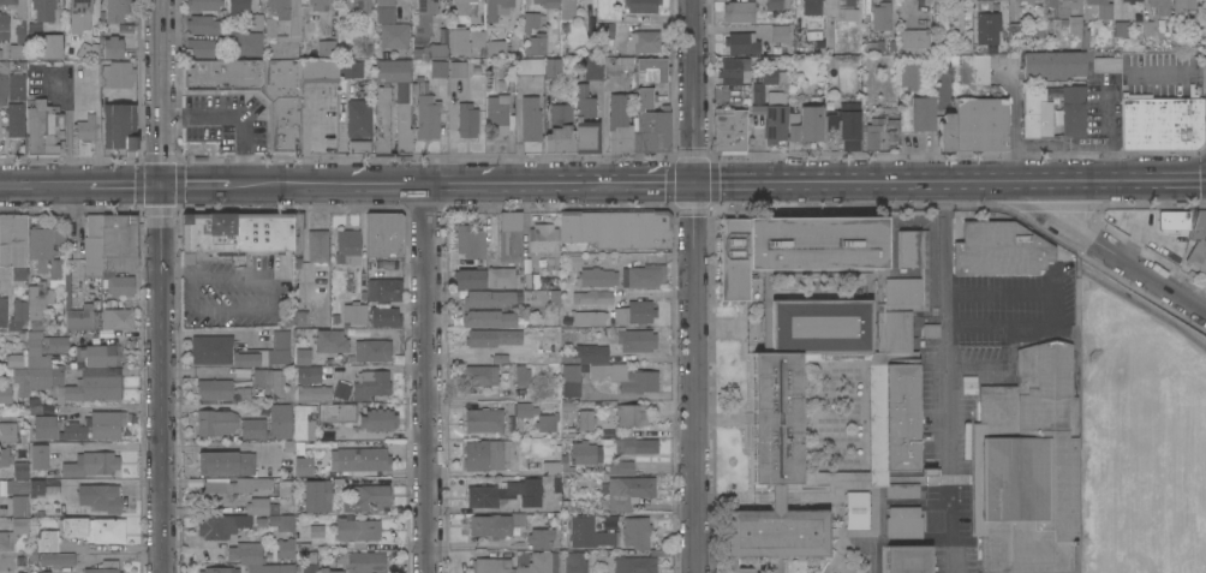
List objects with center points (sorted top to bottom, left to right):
building: (921, 0)
building: (1128, 0)
building: (927, 1)
building: (1026, 1)
building: (547, 2)
building: (849, 2)
building: (1051, 2)
building: (203, 4)
building: (776, 4)
building: (318, 5)
building: (364, 5)
building: (641, 5)
building: (239, 6)
building: (461, 6)
building: (811, 6)
building: (1159, 6)
building: (16, 7)
building: (80, 8)
building: (497, 8)
building: (568, 8)
building: (1101, 8)
building: (43, 10)
building: (115, 10)
building: (386, 11)
building: (739, 11)
building: (425, 17)
building: (882, 17)
building: (1180, 18)
building: (531, 20)
building: (256, 22)
building: (985, 23)
building: (1075, 24)
building: (4, 25)
building: (204, 25)
building: (269, 28)
building: (293, 28)
building: (1121, 28)
building: (1015, 29)
building: (605, 30)
building: (1147, 31)
building: (780, 32)
building: (394, 35)
building: (914, 37)
building: (464, 40)
building: (643, 41)
building: (742, 42)
building: (245, 43)
building: (536, 44)
building: (52, 46)
building: (112, 47)
building: (201, 47)
building: (86, 48)
building: (326, 48)
building: (17, 49)
building: (495, 49)
building: (437, 50)
building: (617, 62)
building: (1056, 62)
building: (1108, 64)
building: (530, 66)
building: (553, 67)
building: (591, 67)
building: (351, 68)
building: (438, 68)
building: (458, 68)
building: (974, 68)
building: (318, 70)
building: (393, 70)
building: (651, 70)
road: (1166, 70)
building: (734, 71)
building: (117, 73)
building: (911, 76)
building: (507, 80)
building: (2, 82)
building: (17, 86)
building: (255, 90)
building: (769, 108)
building: (1071, 108)
building: (425, 109)
building: (923, 113)
building: (1035, 113)
road: (234, 115)
building: (401, 115)
building: (497, 115)
building: (16, 119)
building: (358, 119)
building: (467, 119)
building: (807, 120)
building: (585, 121)
building: (1162, 121)
building: (619, 124)
building: (980, 124)
building: (119, 125)
building: (530, 125)
building: (651, 125)
building: (847, 125)
building: (85, 127)
building: (42, 129)
building: (730, 129)
building: (560, 130)
building: (947, 132)
building: (871, 137)
building: (80, 147)
building: (360, 147)
road: (950, 181)
road: (525, 184)
road: (288, 185)
road: (44, 186)
road: (125, 186)
road: (191, 186)
building: (1174, 220)
building: (614, 229)
building: (297, 231)
building: (237, 232)
building: (384, 234)
building: (511, 238)
building: (13, 240)
building: (1198, 240)
building: (119, 241)
building: (470, 241)
building: (544, 241)
building: (92, 245)
building: (317, 245)
building: (347, 246)
building: (999, 249)
building: (44, 252)
road: (1120, 256)
road: (641, 257)
road: (178, 268)
building: (501, 276)
building: (643, 276)
building: (596, 277)
building: (470, 279)
building: (531, 280)
building: (118, 281)
road: (162, 286)
road: (694, 286)
building: (384, 290)
building: (67, 291)
building: (592, 297)
building: (491, 298)
building: (36, 300)
building: (1058, 302)
road: (268, 308)
building: (995, 310)
building: (2, 311)
building: (354, 312)
building: (633, 312)
building: (18, 315)
building: (299, 315)
building: (82, 317)
building: (384, 317)
building: (589, 317)
building: (117, 318)
building: (489, 318)
road: (944, 320)
building: (41, 323)
building: (930, 330)
building: (485, 338)
building: (330, 340)
building: (635, 340)
building: (54, 344)
building: (374, 350)
building: (239, 351)
building: (983, 352)
building: (587, 353)
building: (101, 356)
building: (301, 356)
building: (14, 360)
building: (41, 364)
building: (309, 374)
building: (479, 375)
building: (521, 376)
building: (626, 376)
road: (428, 378)
building: (20, 380)
building: (571, 380)
building: (270, 381)
building: (371, 383)
building: (92, 384)
building: (214, 388)
building: (341, 390)
building: (5, 393)
building: (314, 393)
building: (243, 394)
building: (892, 398)
building: (34, 406)
building: (336, 412)
building: (524, 412)
building: (631, 413)
building: (377, 419)
building: (484, 419)
building: (586, 419)
building: (281, 420)
building: (215, 422)
building: (303, 422)
building: (547, 422)
building: (106, 424)
building: (58, 429)
building: (253, 429)
building: (7, 431)
building: (635, 444)
building: (585, 453)
building: (5, 455)
building: (483, 455)
building: (40, 456)
building: (369, 459)
building: (225, 462)
building: (90, 464)
building: (566, 465)
building: (1027, 465)
building: (301, 466)
building: (551, 467)
building: (619, 467)
building: (20, 470)
building: (261, 482)
building: (17, 485)
building: (37, 488)
building: (283, 488)
building: (223, 489)
building: (628, 490)
building: (506, 493)
building: (317, 496)
building: (98, 497)
building: (366, 499)
building: (18, 505)
building: (261, 506)
building: (856, 509)
building: (903, 521)
building: (19, 525)
building: (239, 525)
building: (496, 525)
building: (95, 529)
building: (357, 529)
building: (637, 531)
building: (587, 532)
building: (539, 537)
building: (5, 541)
building: (47, 541)
building: (285, 548)
building: (249, 553)
building: (55, 559)
building: (908, 559)
building: (490, 561)
building: (358, 562)
building: (574, 562)
building: (634, 563)
building: (105, 567)
building: (270, 568)
building: (309, 568)
building: (219, 569)
building: (744, 569)
building: (43, 572)

